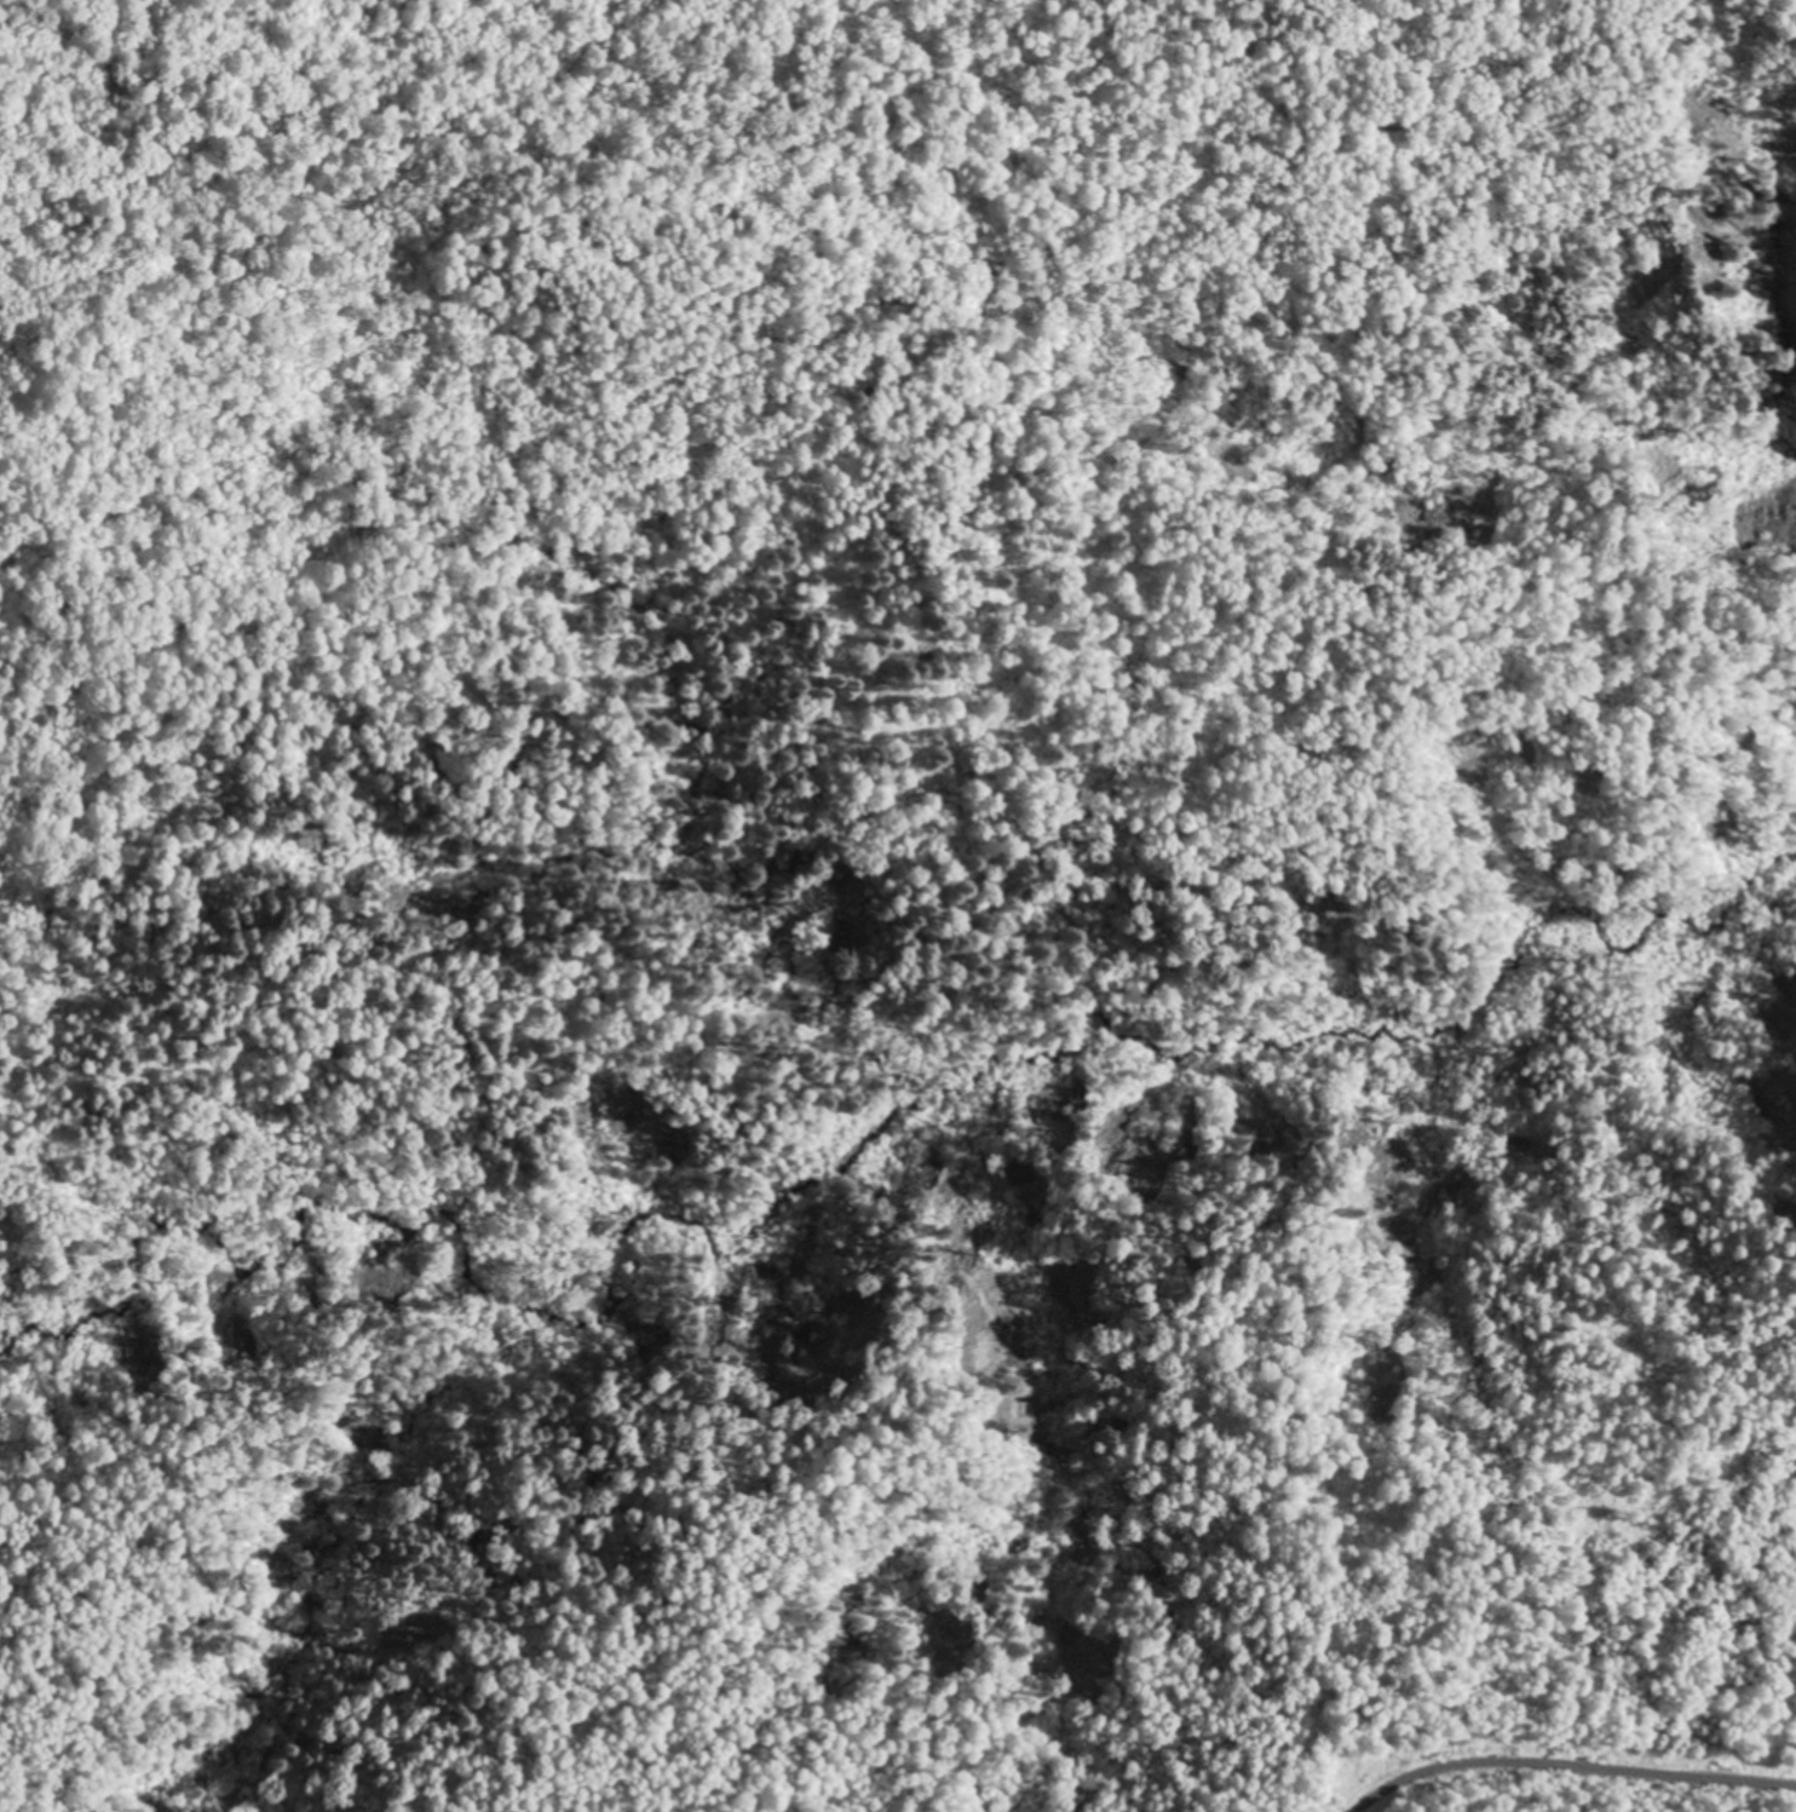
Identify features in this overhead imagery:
road: (1577, 1766)

